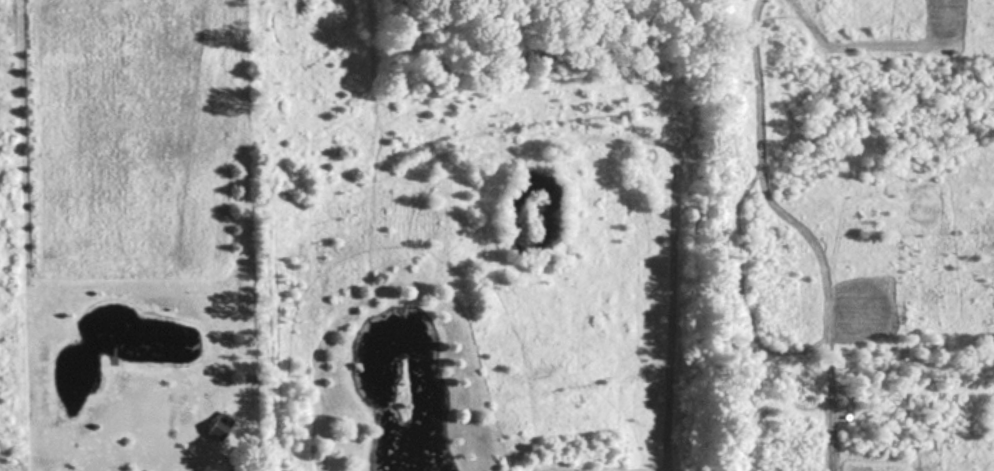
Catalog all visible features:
building: (218, 426)

